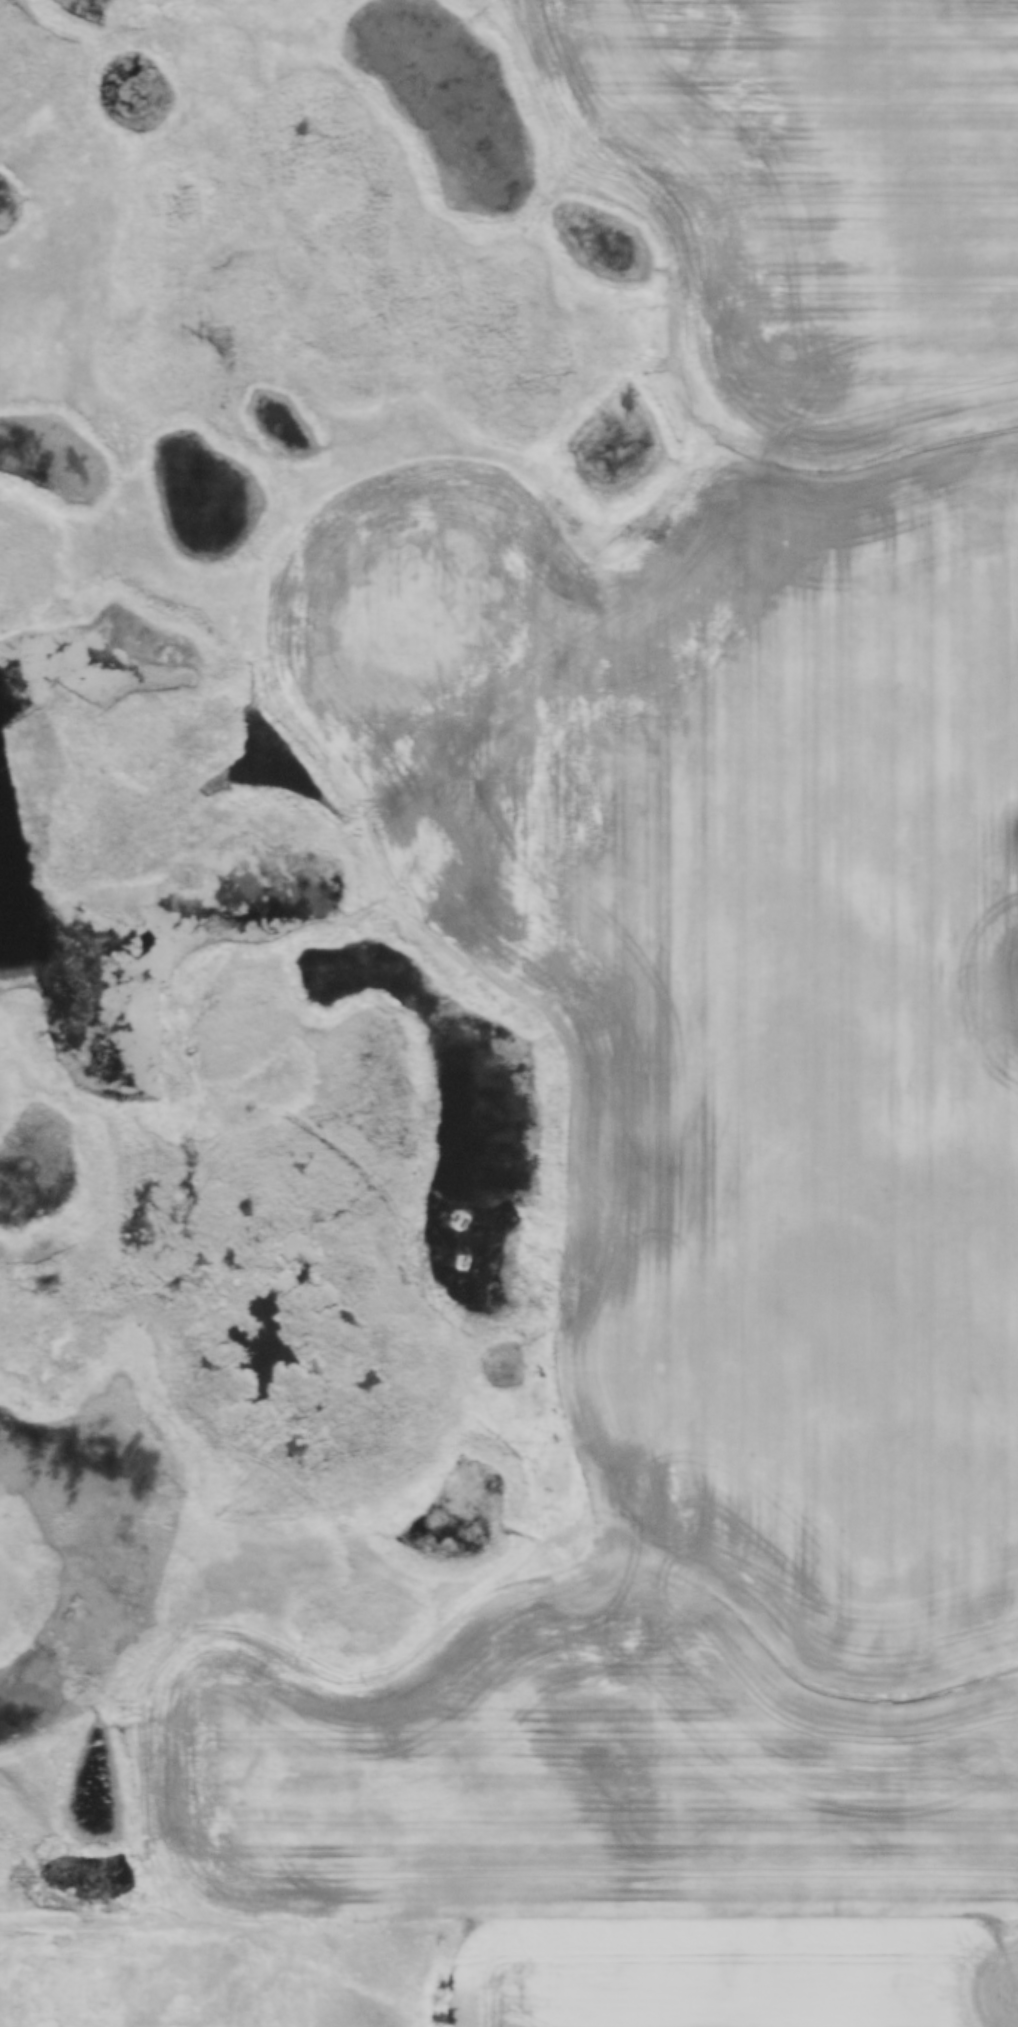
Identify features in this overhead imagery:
road: (1014, 1936)

